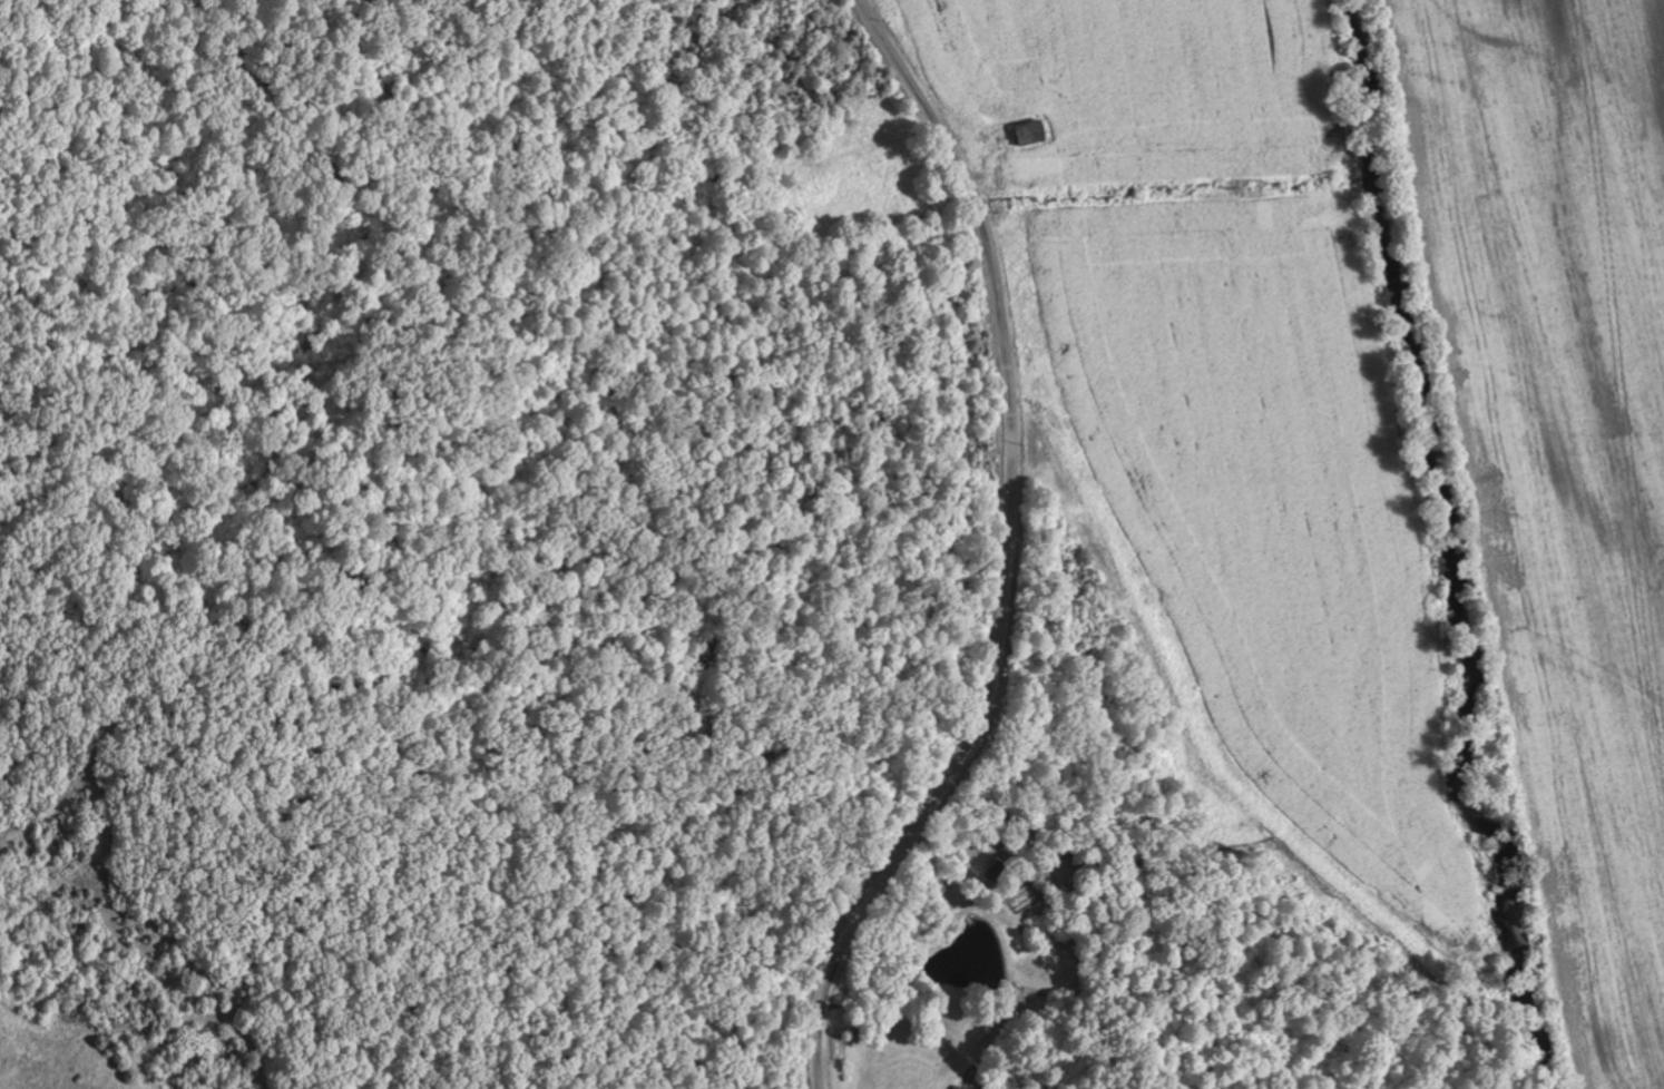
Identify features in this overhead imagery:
building: (1034, 133)
road: (1008, 550)

